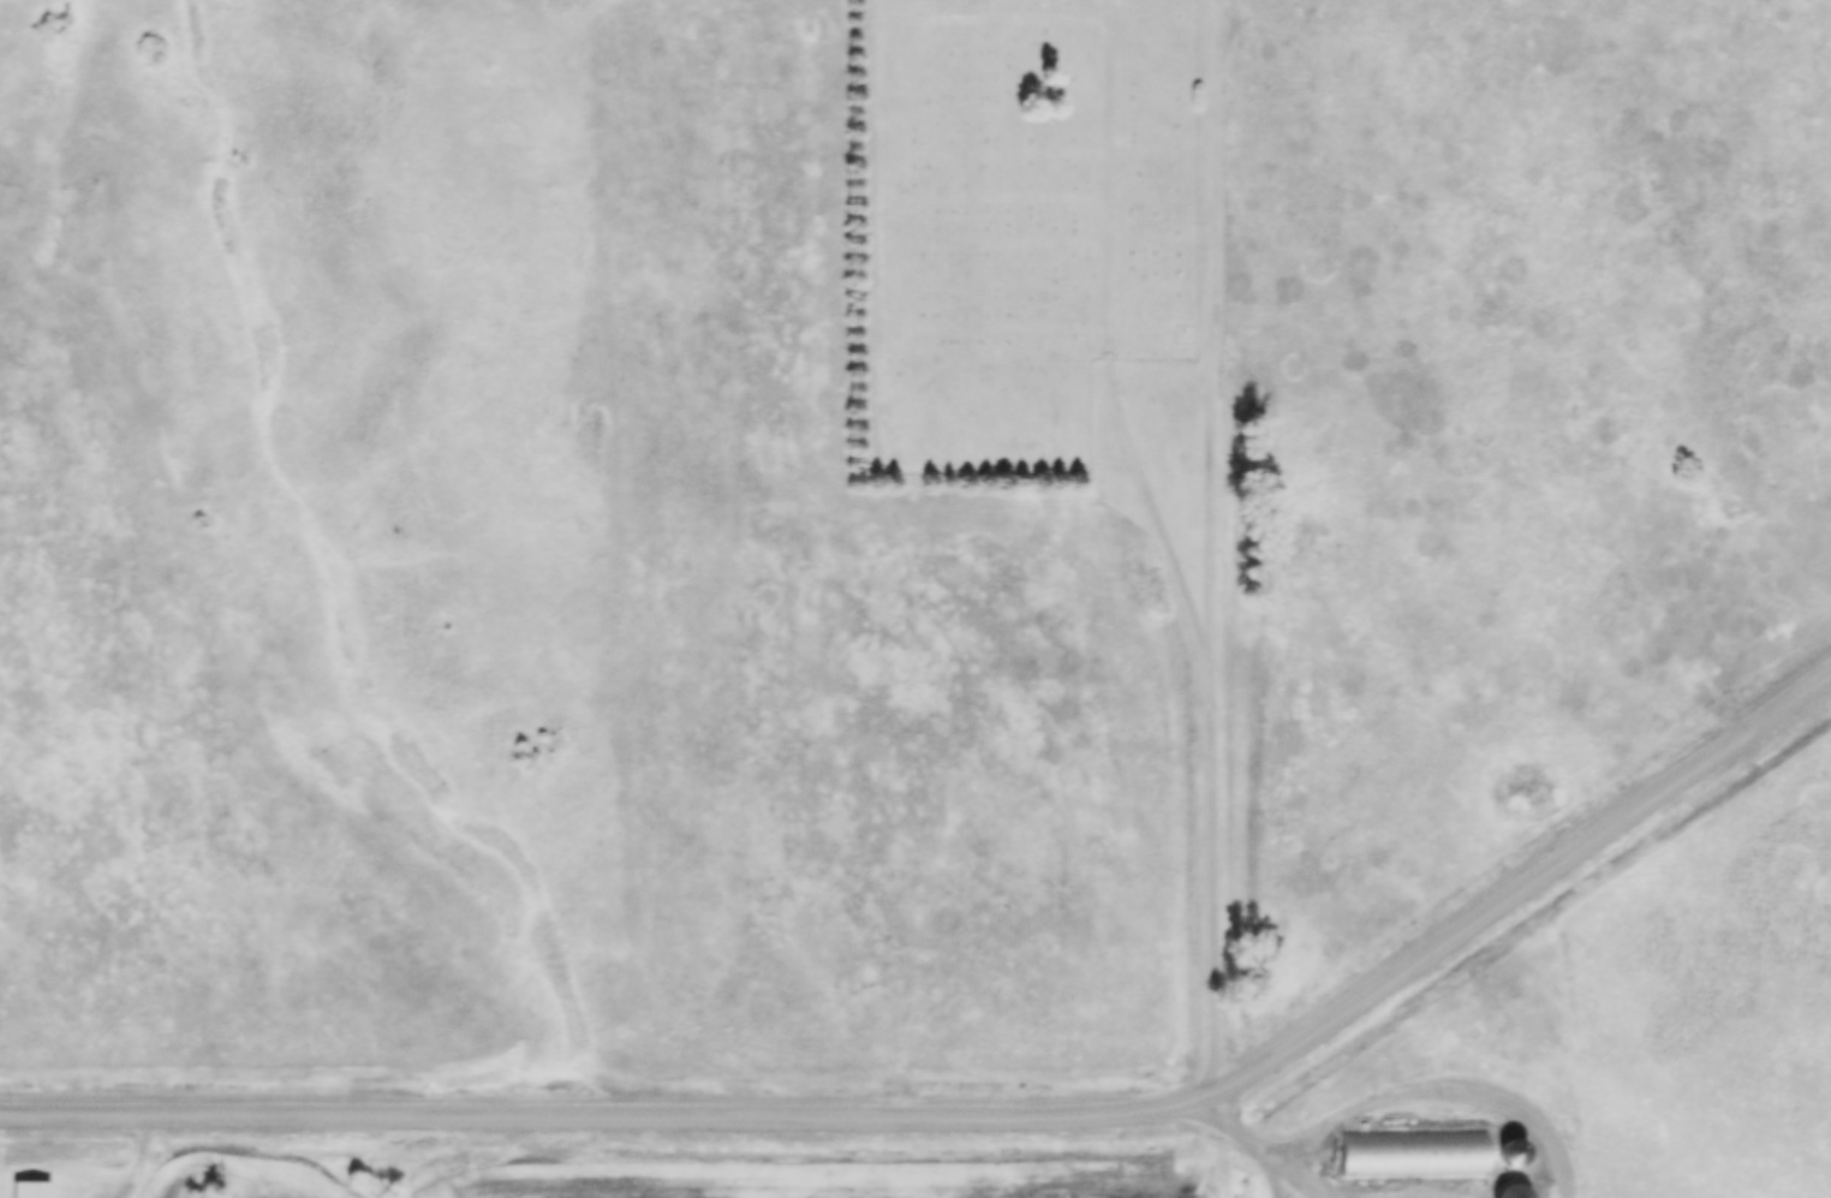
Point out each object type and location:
road: (1211, 338)
road: (1108, 346)
road: (1212, 881)
road: (982, 1109)
road: (1180, 1148)
building: (1514, 1151)
silo: (1514, 1151)
building: (1417, 1155)
building: (34, 1190)
building: (1514, 1191)
silo: (1514, 1191)

